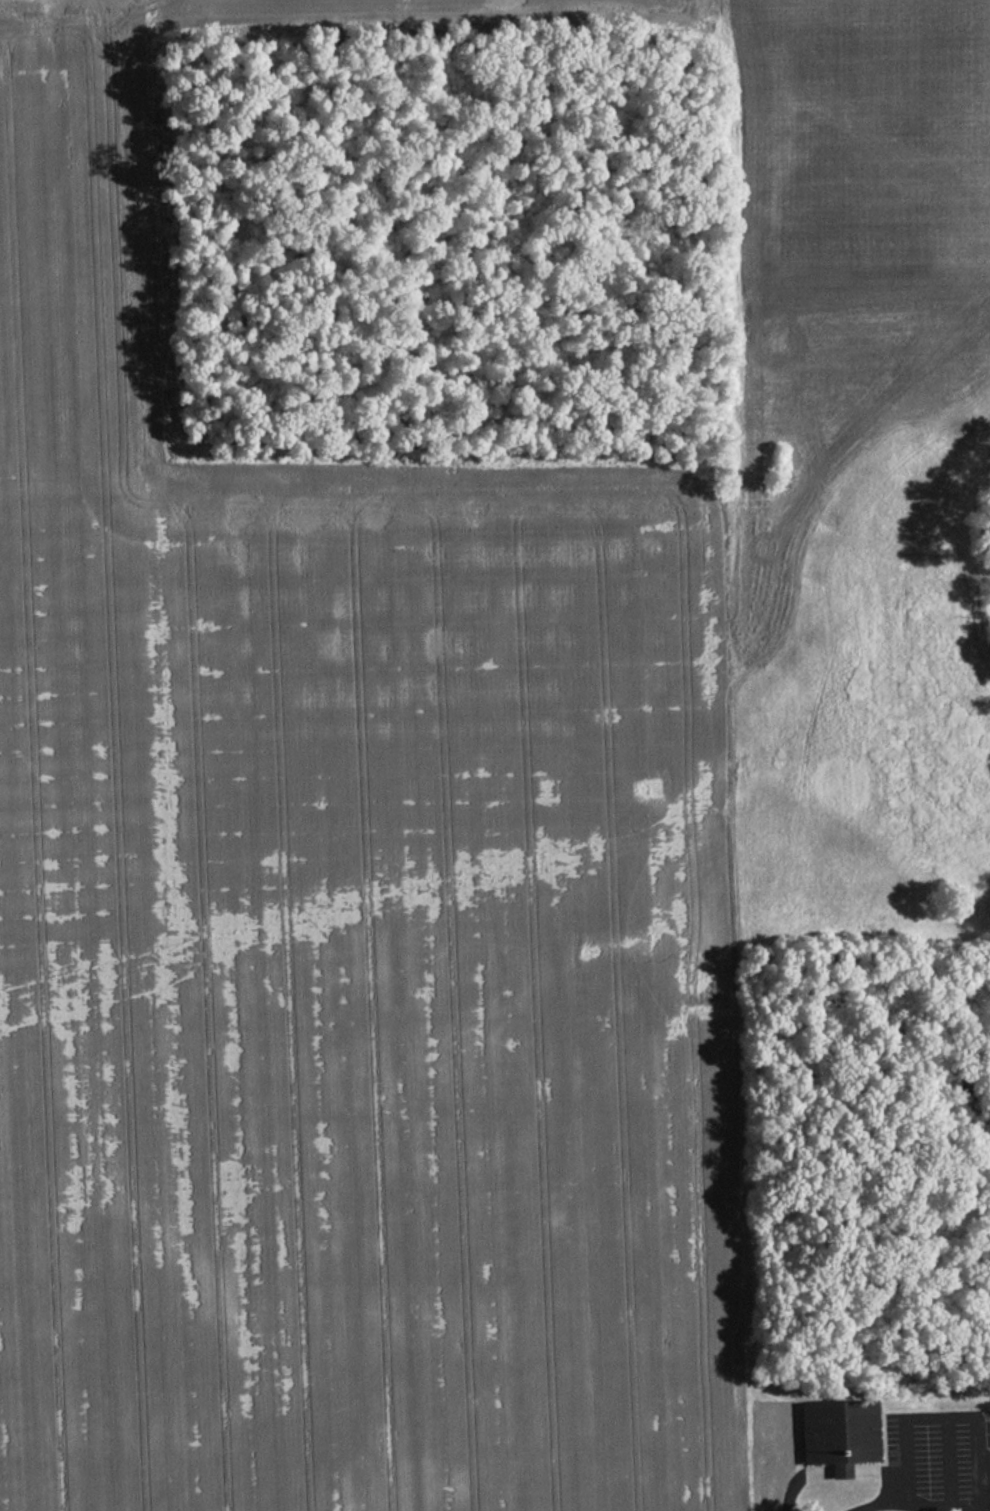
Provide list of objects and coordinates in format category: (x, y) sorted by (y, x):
crop: (342, 912)
building: (834, 1435)
road: (933, 1510)

